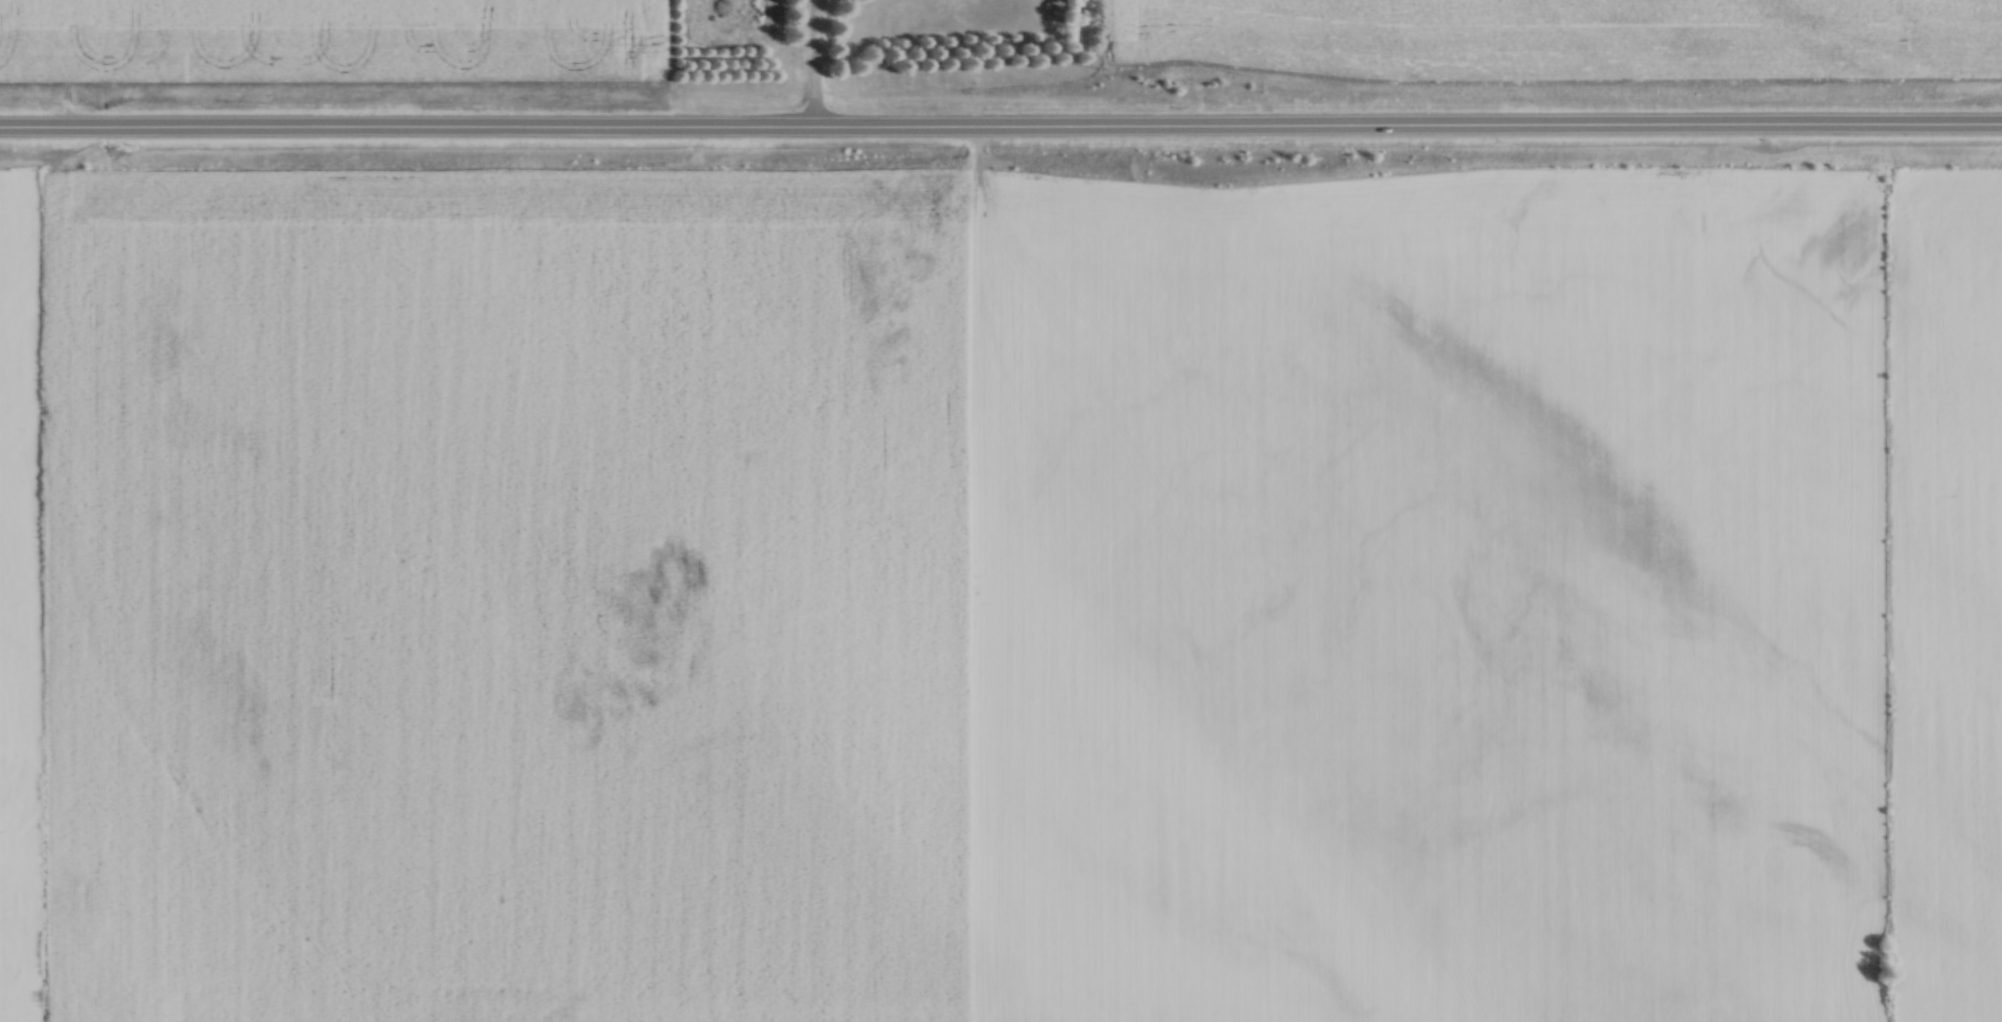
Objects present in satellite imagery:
road: (815, 66)
road: (1001, 131)

